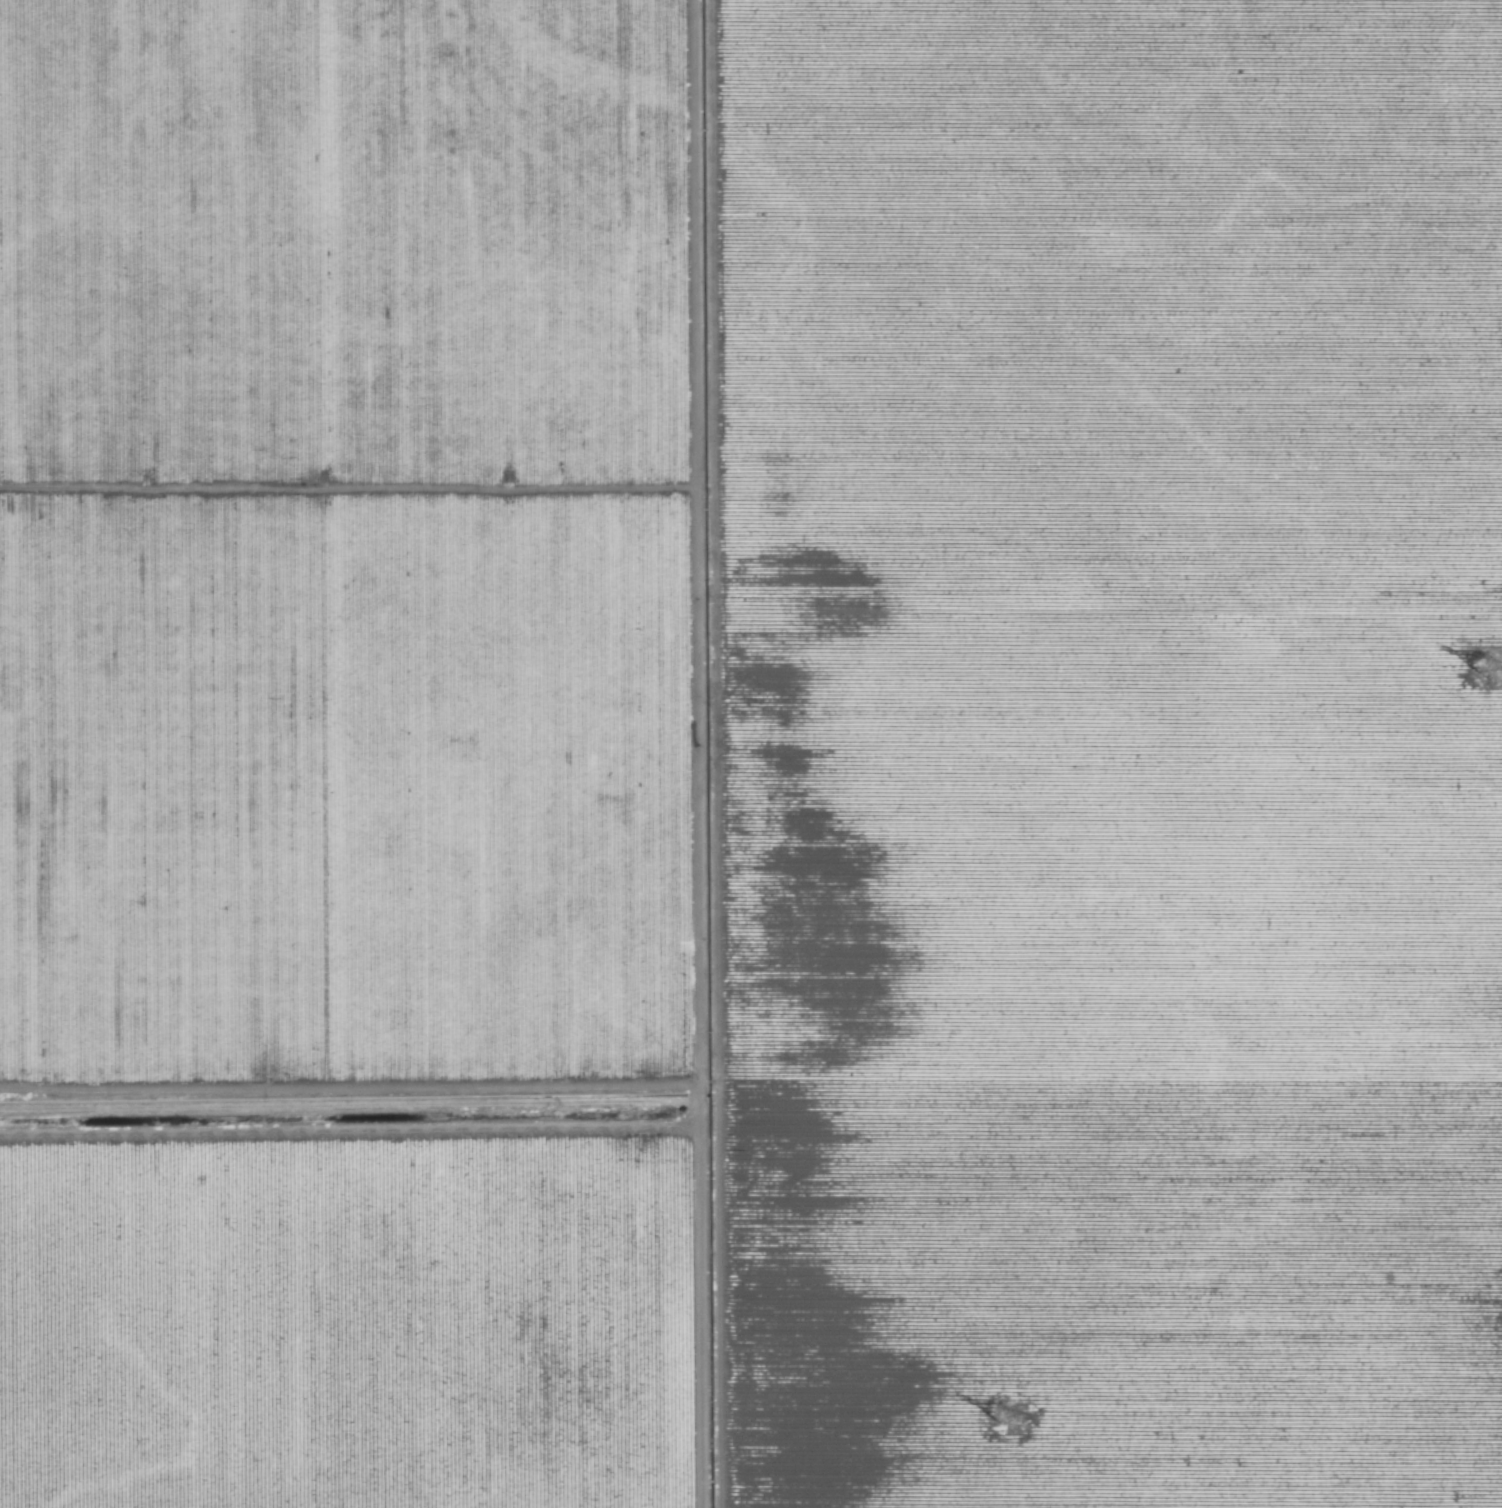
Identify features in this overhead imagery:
power tower: (1013, 1424)

